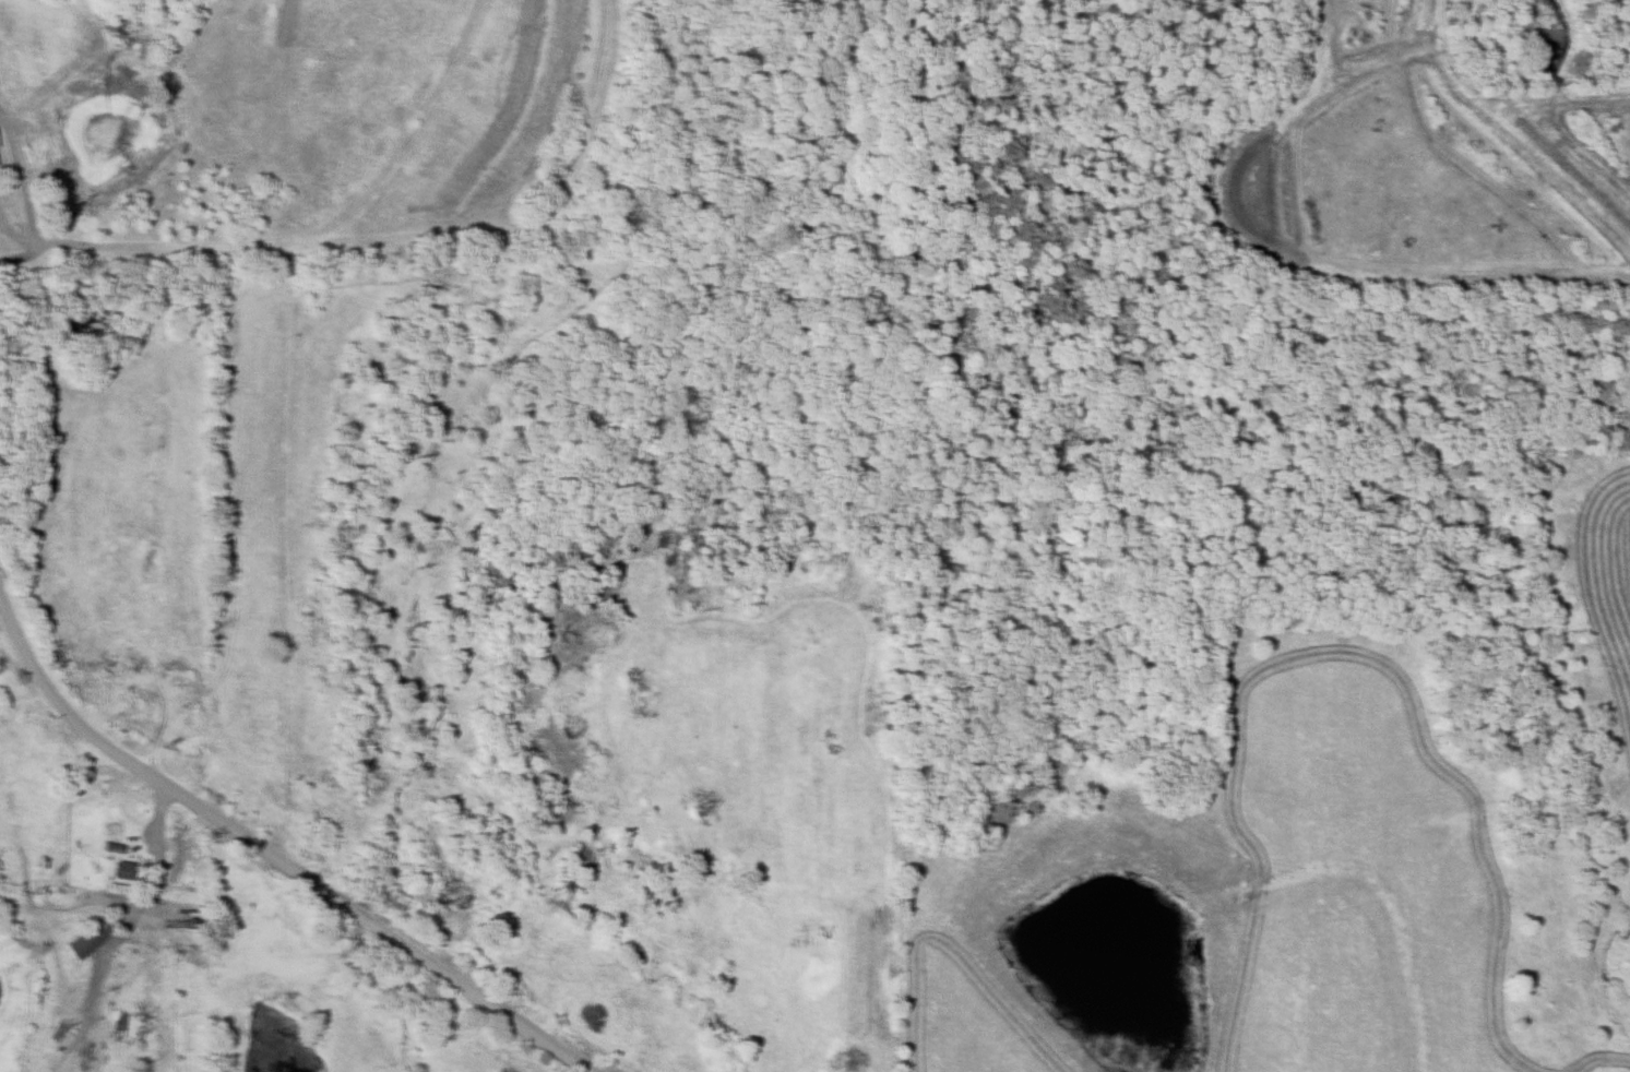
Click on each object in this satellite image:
building: (127, 702)
road: (275, 851)
road: (159, 855)
building: (185, 866)
building: (81, 941)
road: (119, 981)

